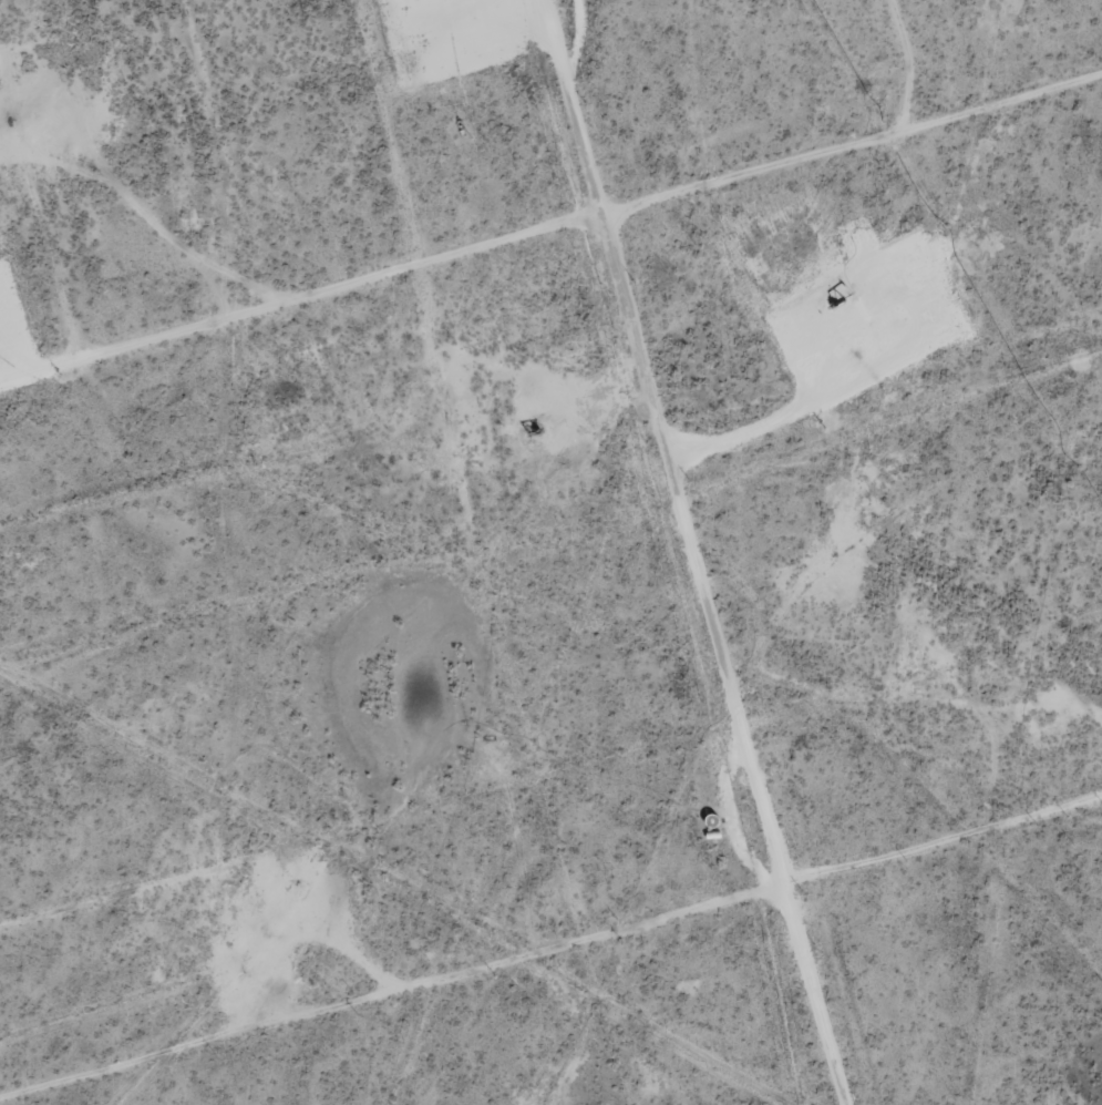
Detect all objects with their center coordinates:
road: (550, 266)
road: (626, 553)

